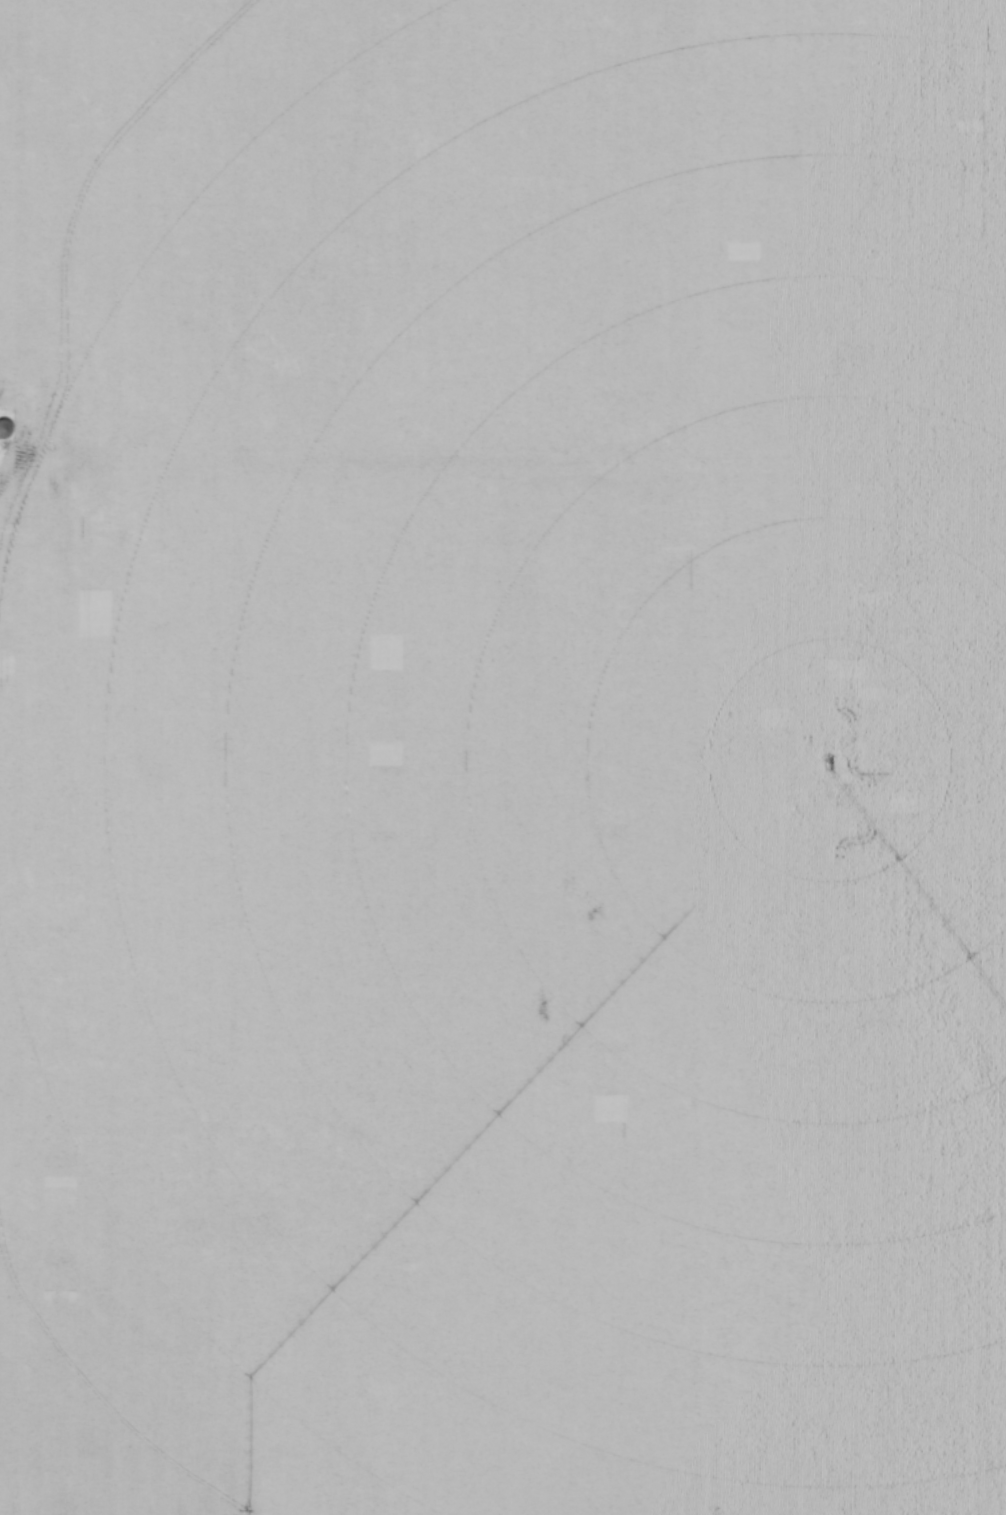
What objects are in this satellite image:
building: (6, 430)

